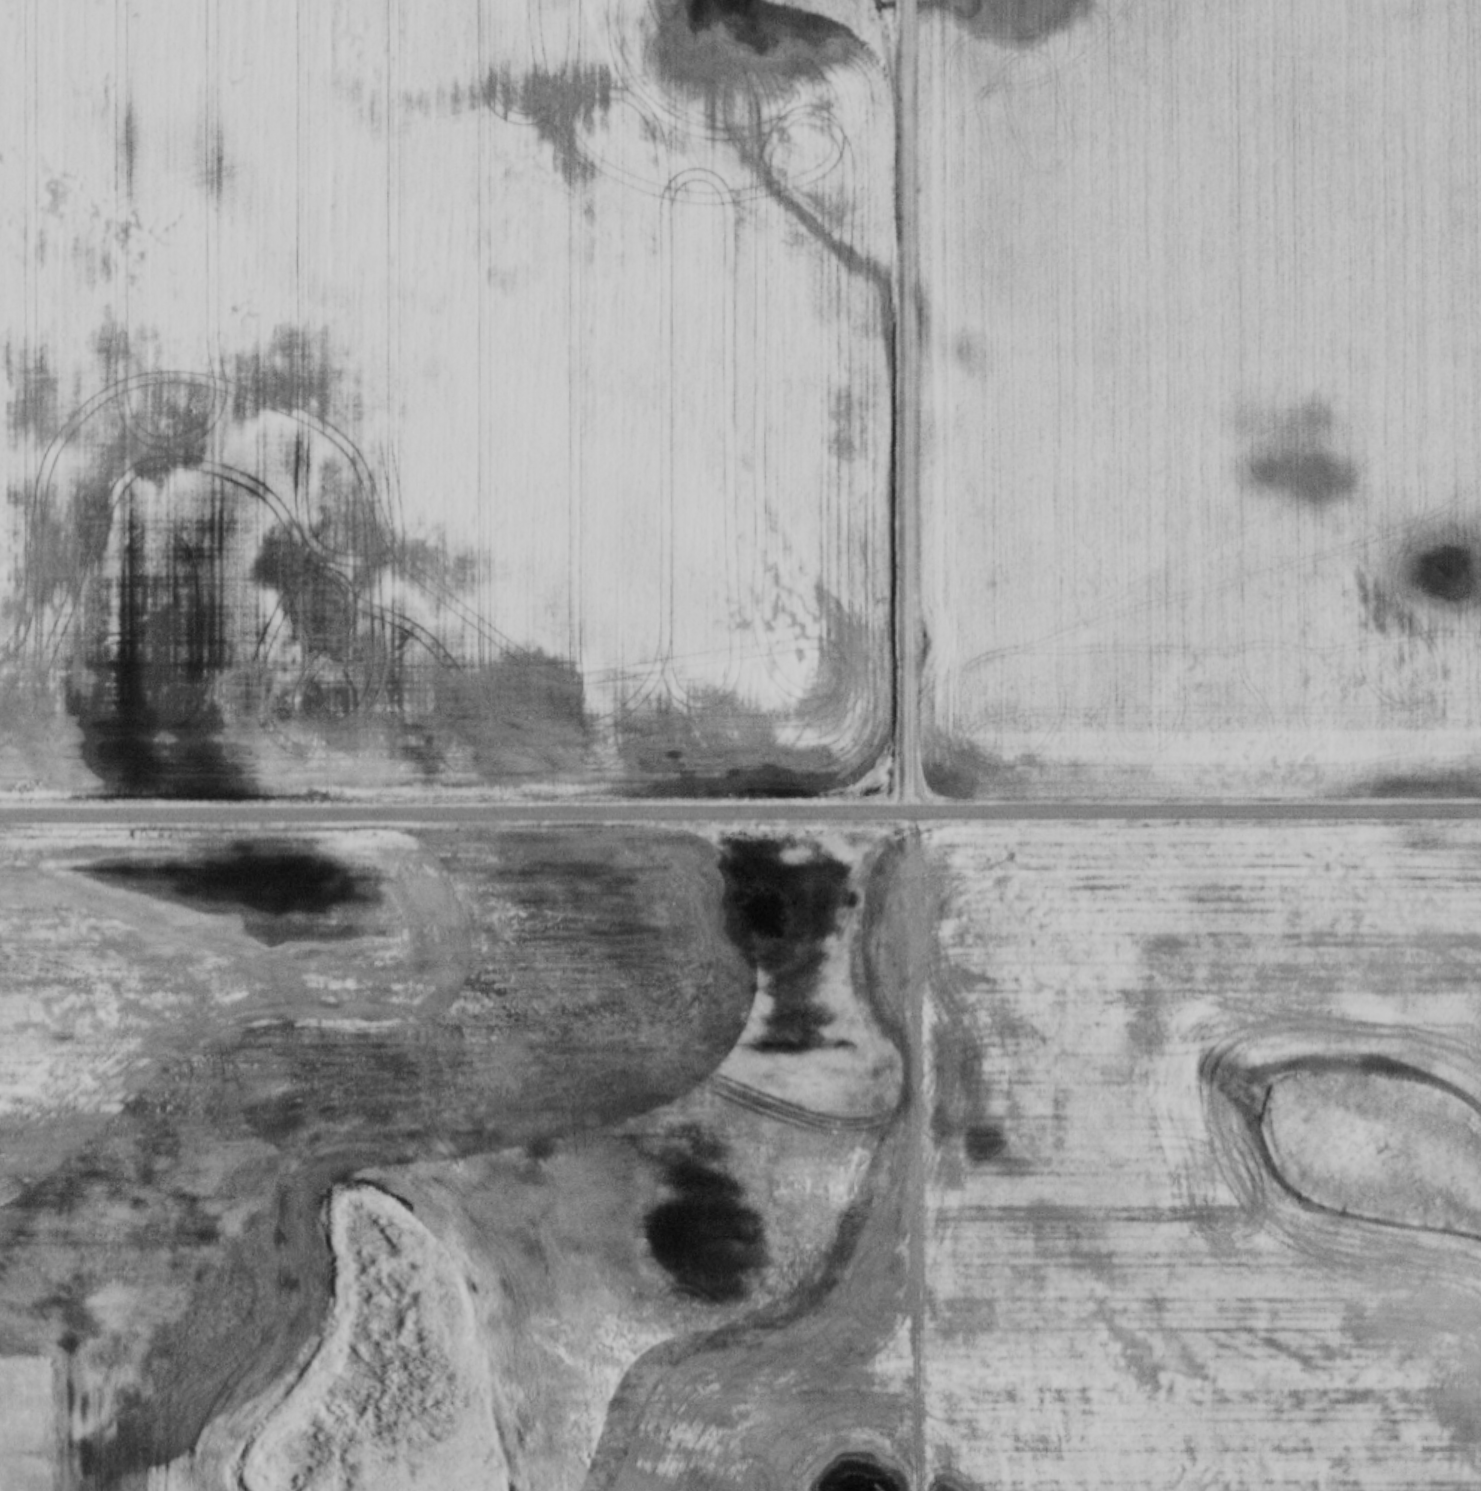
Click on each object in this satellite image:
road: (905, 745)
road: (740, 810)

